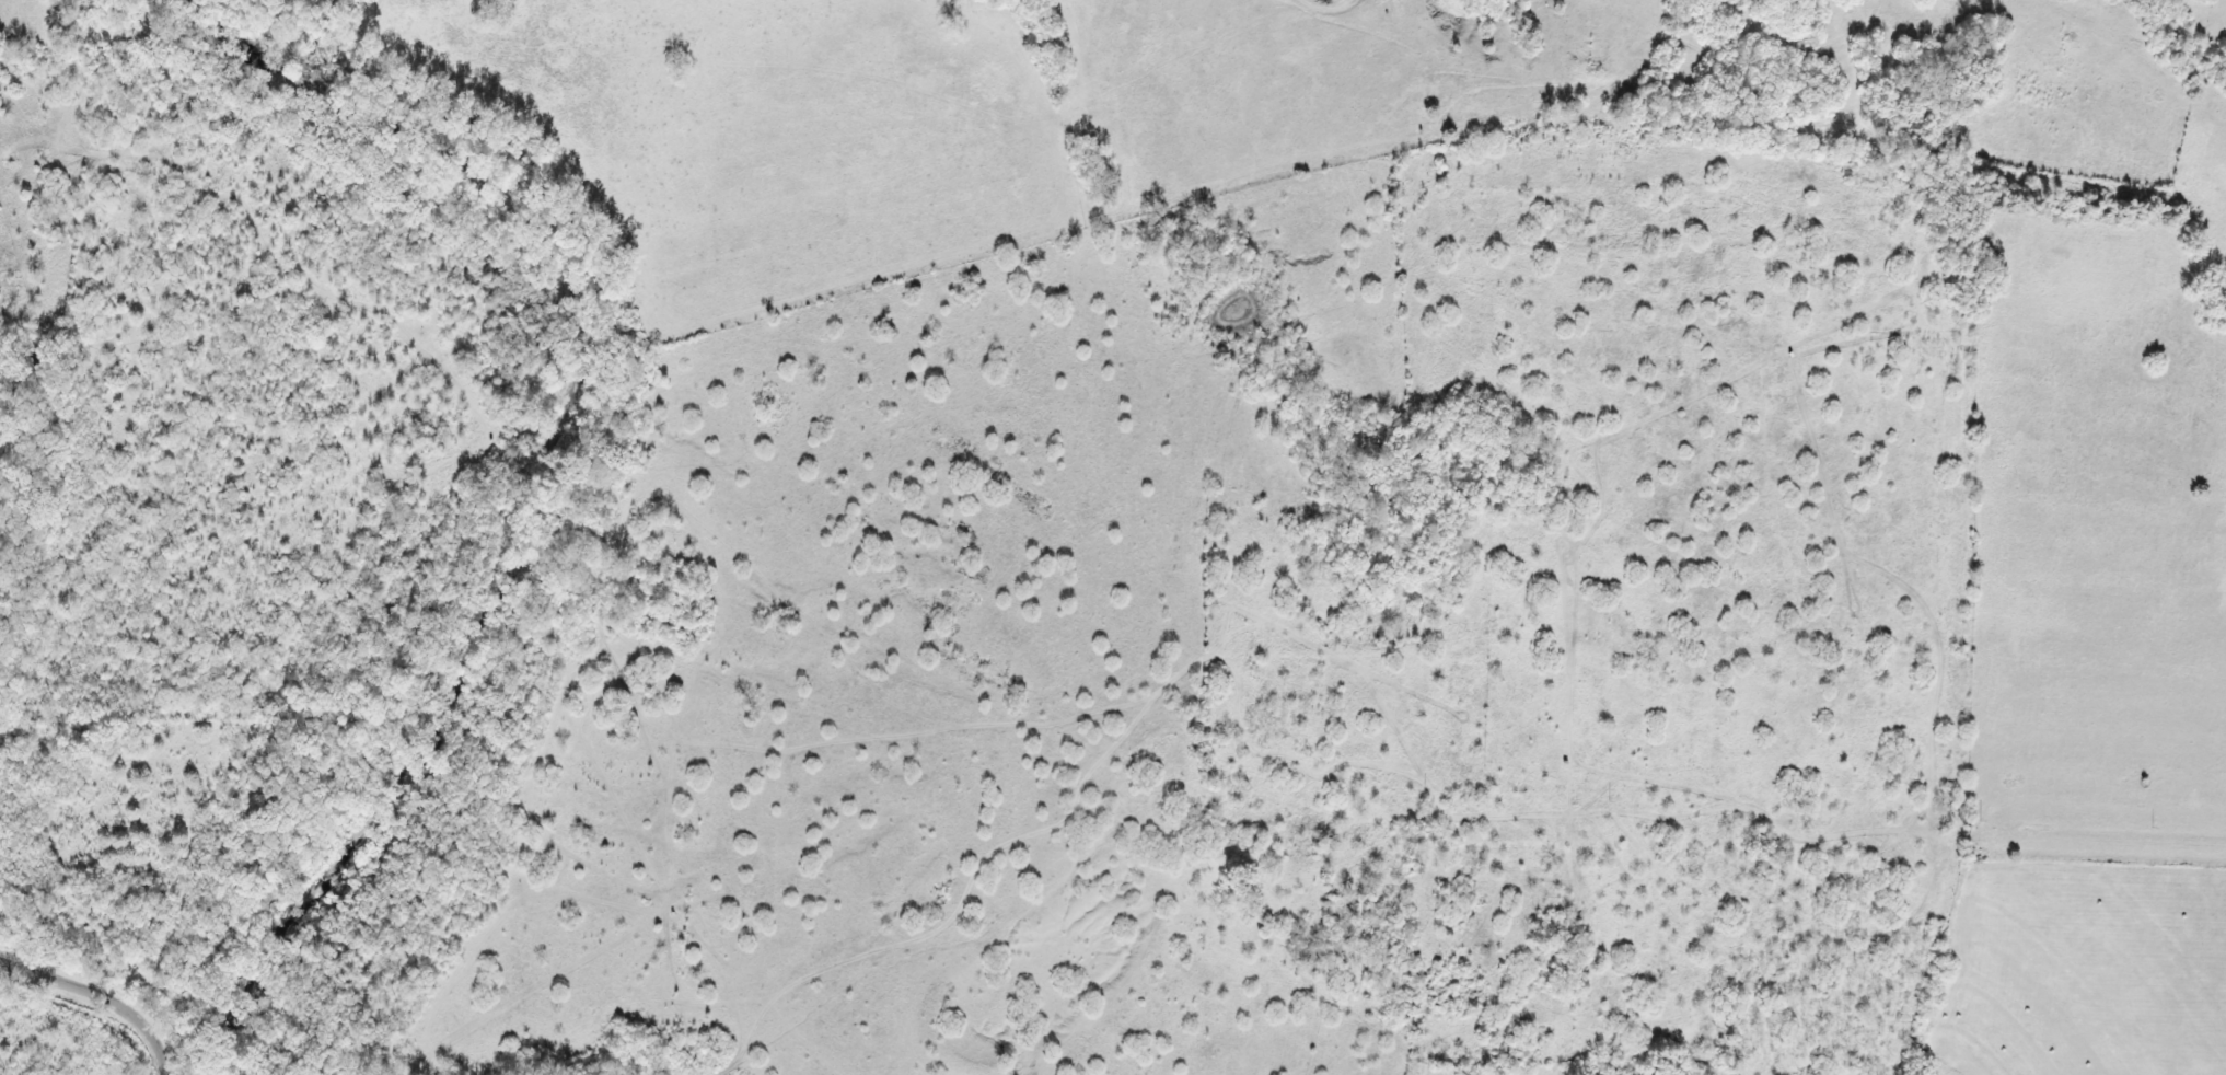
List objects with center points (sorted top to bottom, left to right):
road: (1788, 811)
road: (2218, 828)
road: (103, 993)

